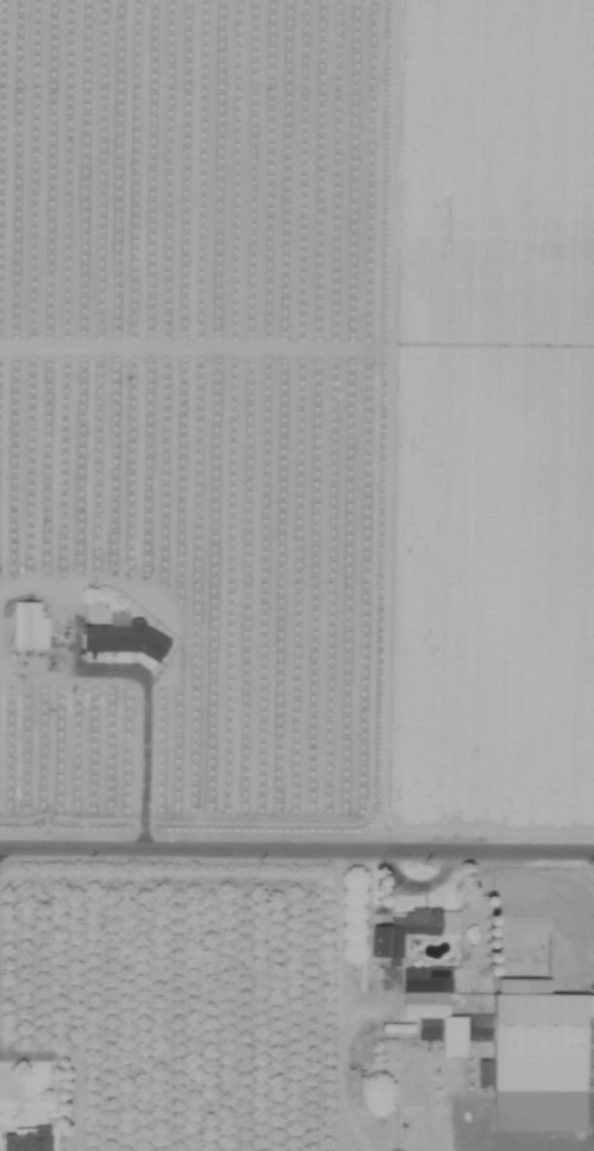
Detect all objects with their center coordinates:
crop: (273, 521)
building: (29, 627)
building: (124, 638)
road: (146, 766)
road: (296, 843)
building: (402, 932)
building: (437, 1011)
building: (537, 1057)
building: (5, 1081)
building: (27, 1139)

